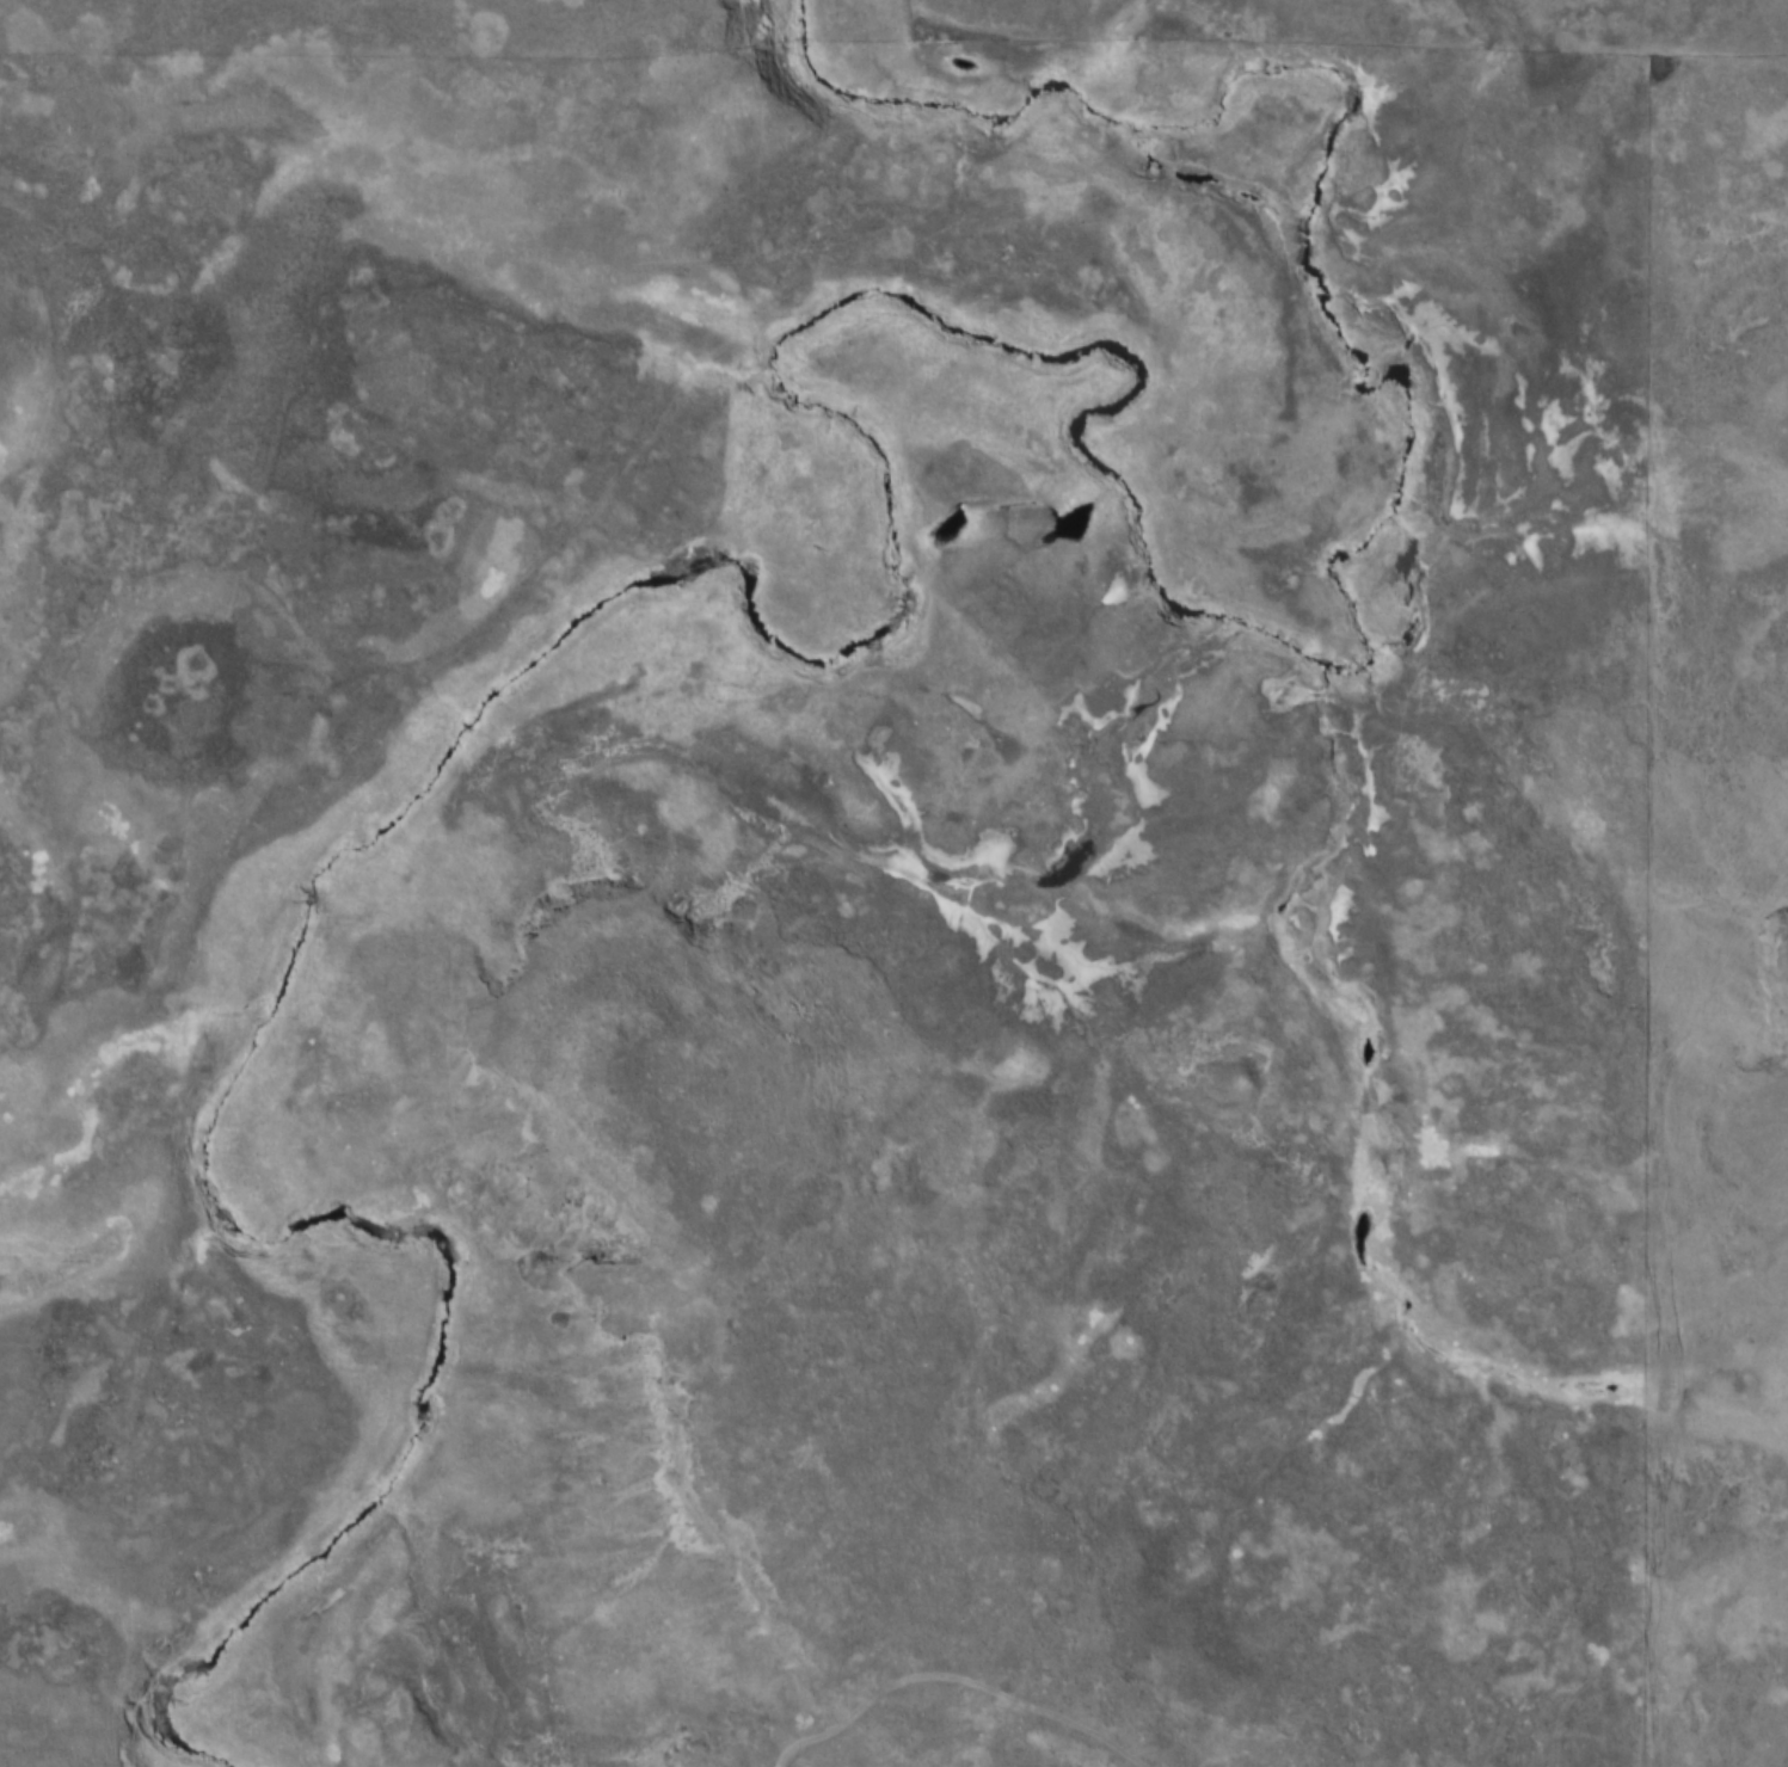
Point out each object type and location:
road: (961, 1673)

